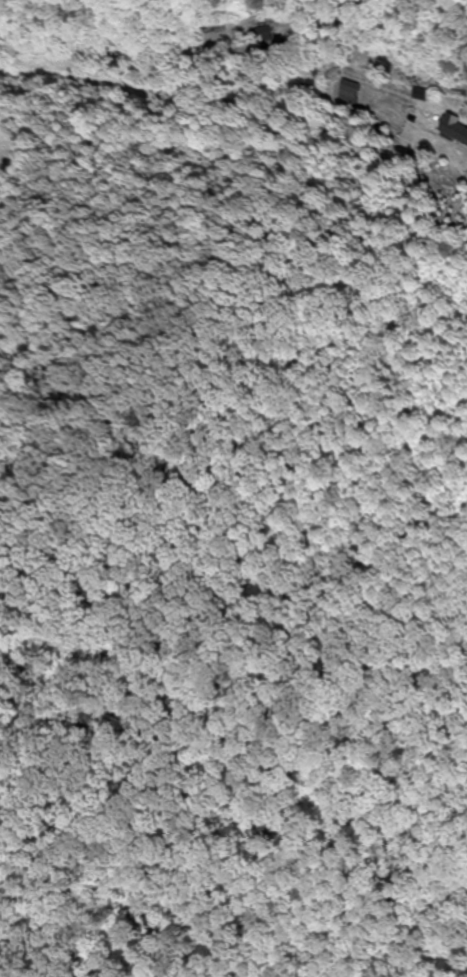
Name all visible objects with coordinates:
building: (391, 64)
building: (348, 92)
building: (452, 128)

